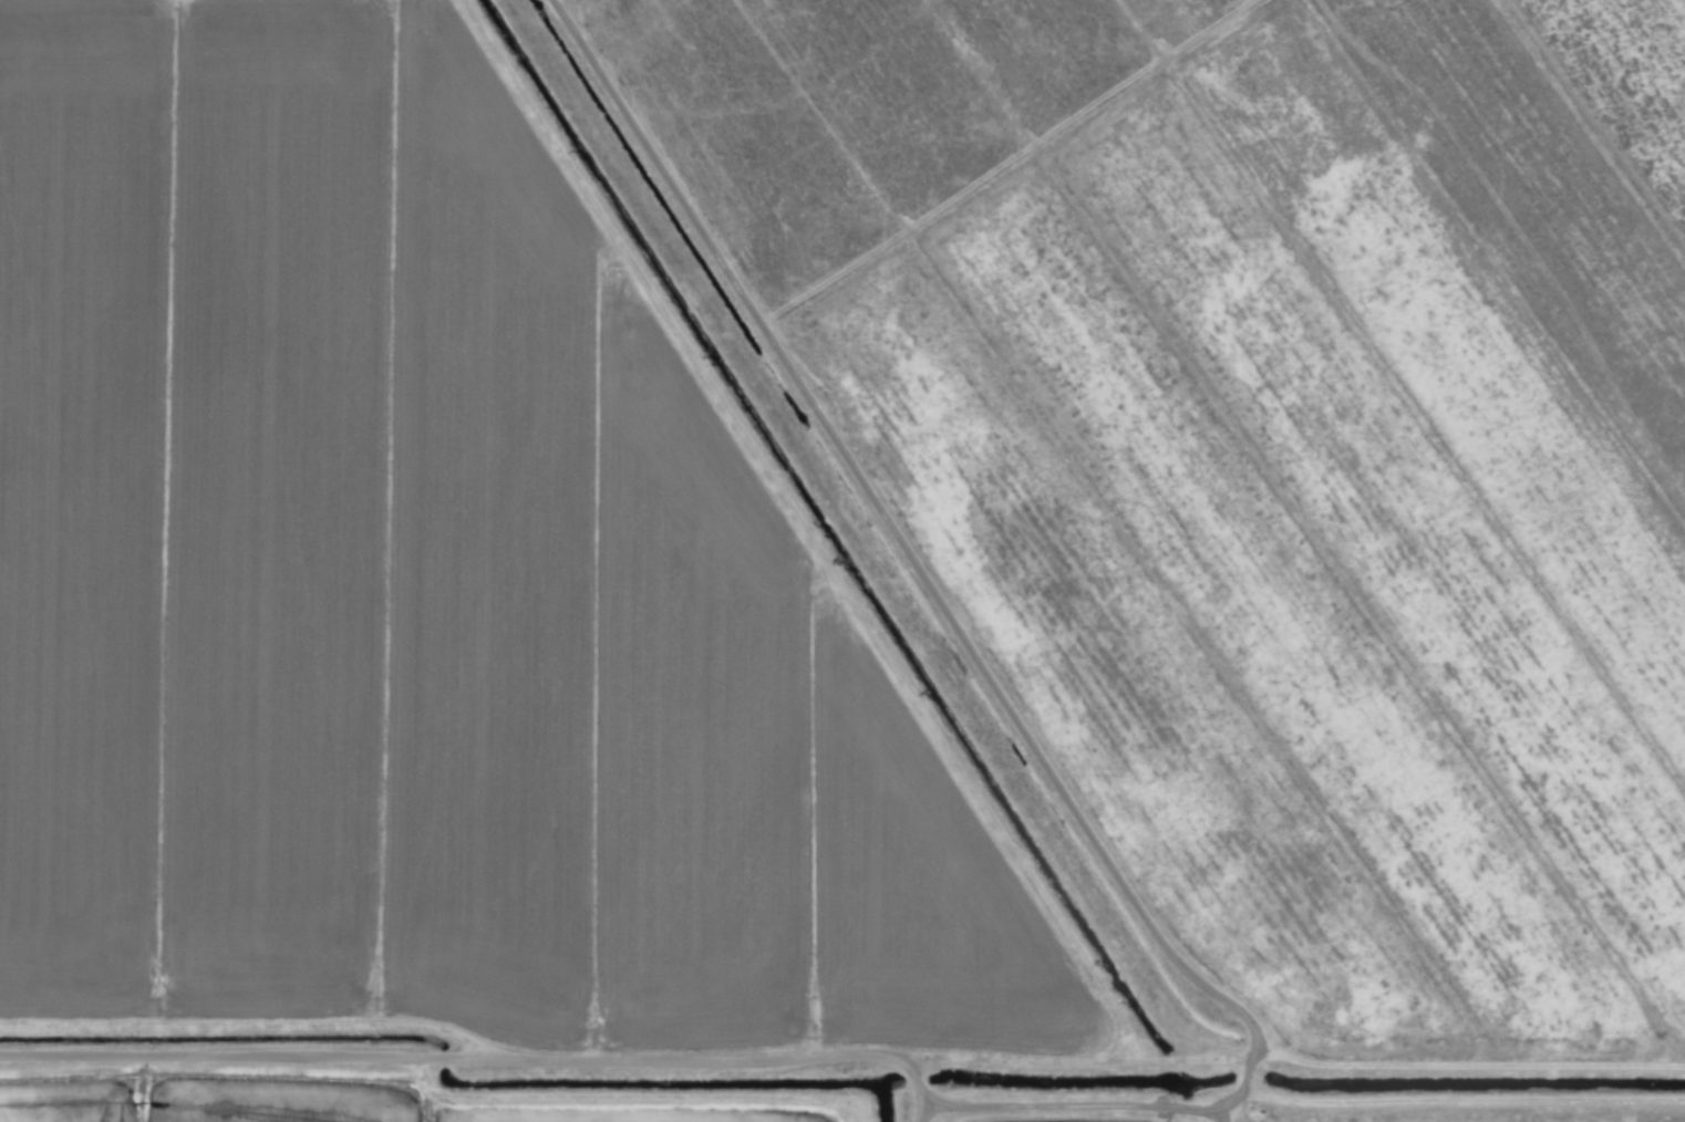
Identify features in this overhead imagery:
crop: (842, 561)
road: (995, 690)
road: (475, 1063)
road: (924, 1111)

